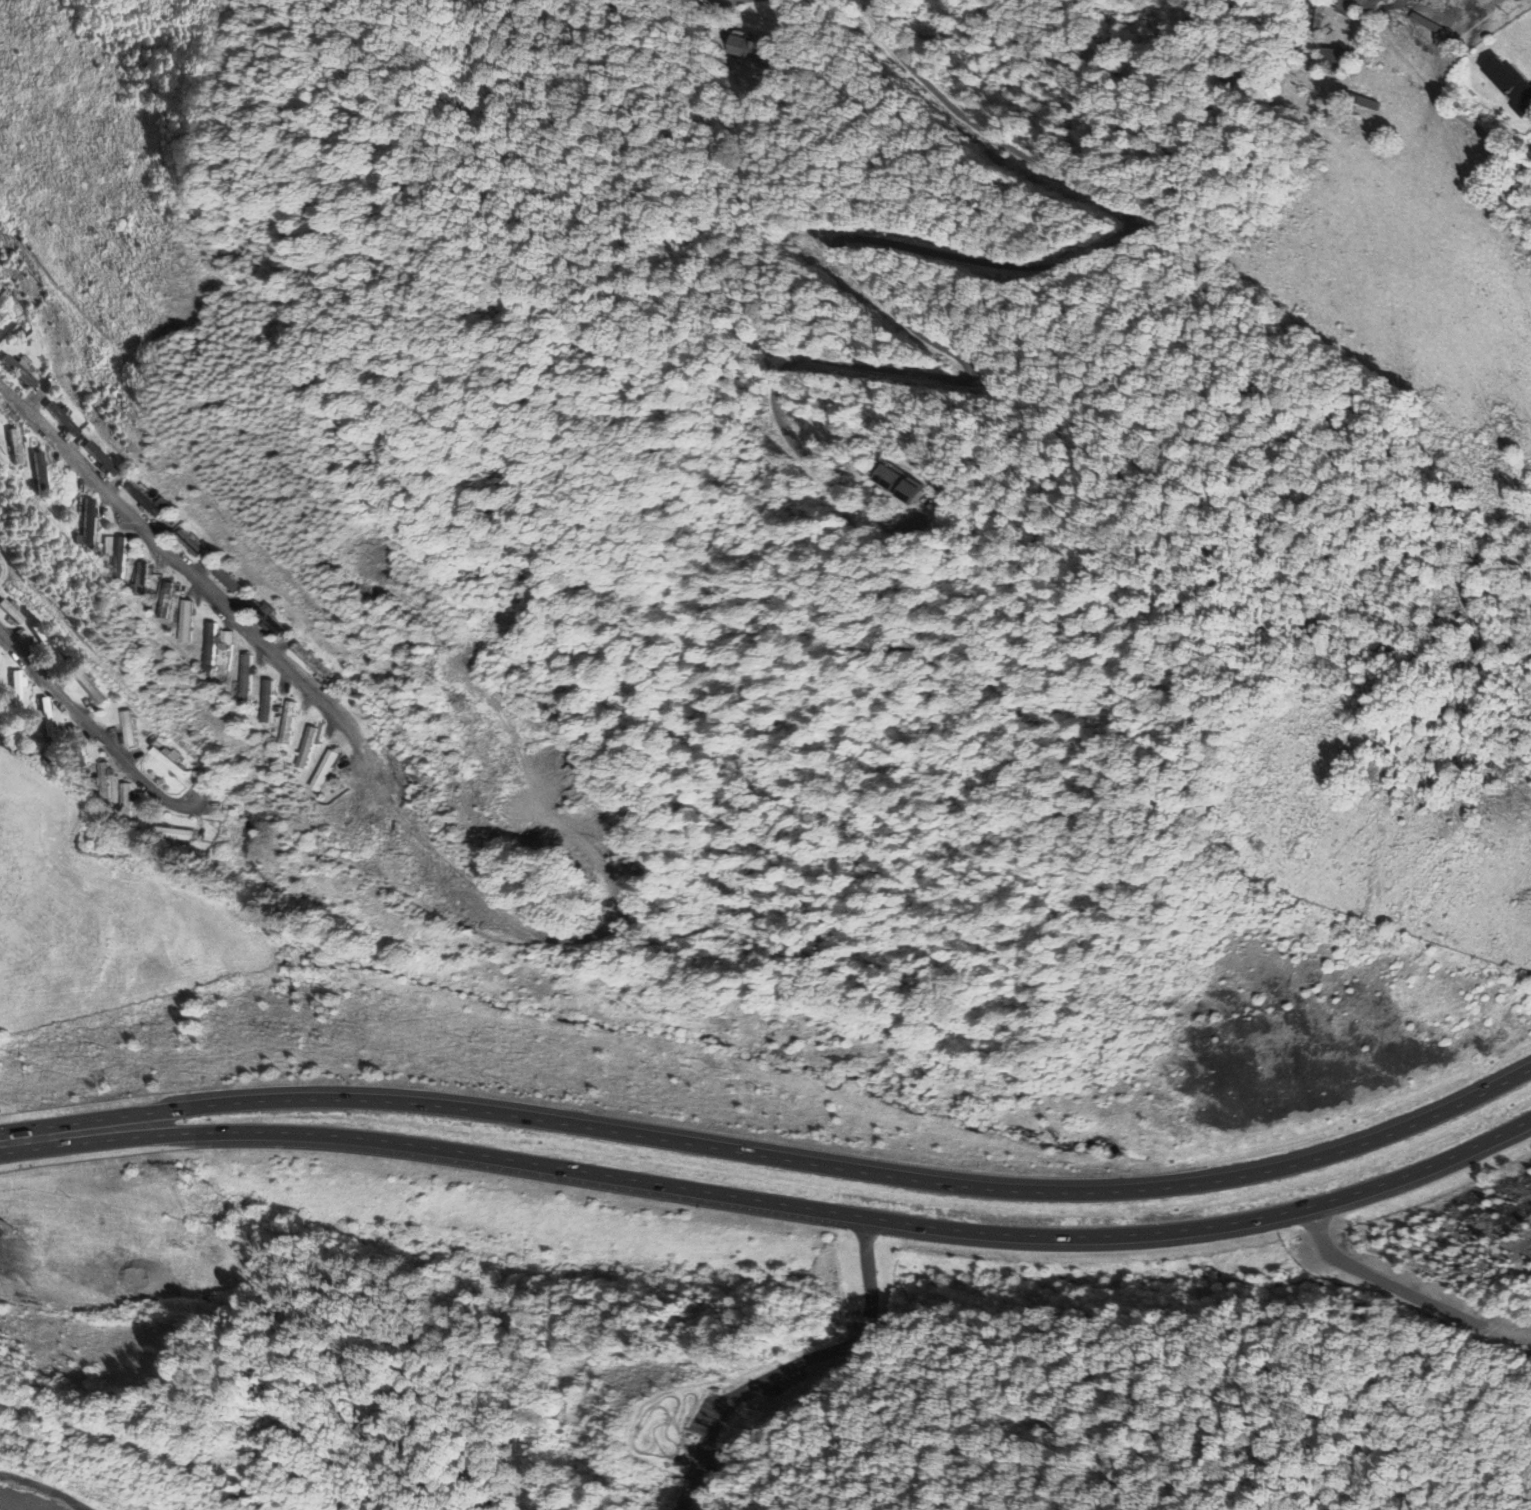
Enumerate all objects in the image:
road: (727, 2)
building: (1368, 4)
building: (1315, 14)
building: (1294, 46)
building: (750, 47)
building: (1336, 58)
building: (1510, 85)
building: (1356, 102)
road: (850, 238)
building: (3, 317)
building: (19, 370)
building: (63, 418)
building: (54, 419)
building: (15, 446)
building: (101, 457)
building: (90, 459)
building: (39, 472)
building: (904, 483)
building: (886, 487)
building: (135, 499)
building: (144, 499)
building: (87, 521)
building: (190, 543)
building: (178, 544)
building: (122, 557)
road: (188, 571)
building: (144, 577)
building: (228, 579)
building: (216, 581)
building: (167, 599)
building: (12, 611)
building: (266, 617)
building: (257, 619)
building: (189, 620)
building: (225, 639)
building: (47, 643)
building: (212, 644)
building: (313, 661)
building: (248, 677)
building: (89, 686)
building: (16, 689)
building: (268, 700)
building: (45, 716)
building: (290, 722)
building: (129, 728)
road: (91, 729)
building: (78, 746)
building: (308, 747)
building: (168, 761)
building: (326, 770)
building: (106, 780)
building: (127, 800)
building: (176, 833)
road: (60, 1135)
road: (833, 1166)
road: (833, 1212)
building: (119, 1226)
building: (31, 1285)
road: (1137, 1350)
road: (799, 1370)
road: (695, 1396)
road: (664, 1406)
park: (1030, 1406)
road: (1121, 1418)
road: (673, 1422)
park: (672, 1431)
parking lot: (709, 1433)
road: (872, 1452)
road: (517, 1475)
road: (46, 1489)
road: (1206, 1489)
road: (729, 1490)
road: (832, 1500)

